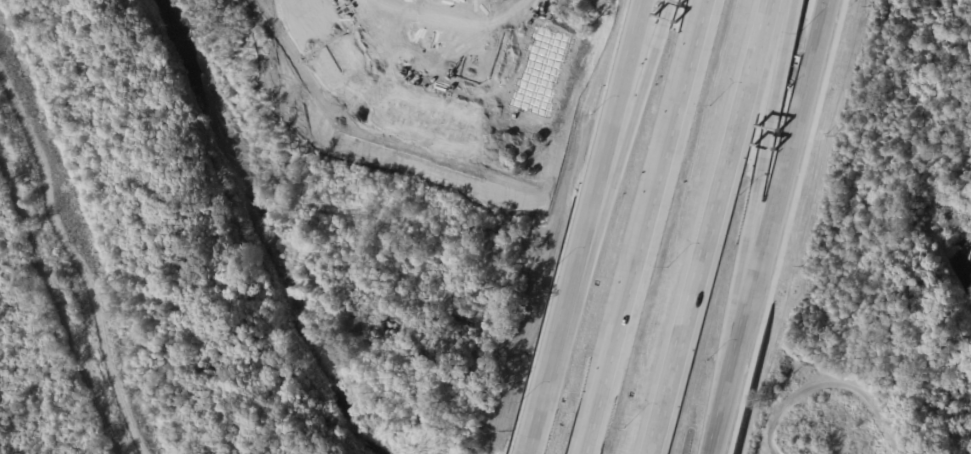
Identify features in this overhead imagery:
building: (449, 31)
building: (319, 36)
building: (541, 70)
road: (446, 78)
building: (428, 120)
road: (602, 154)
road: (621, 156)
road: (754, 195)
road: (770, 226)
road: (645, 227)
road: (707, 227)
road: (782, 227)
building: (477, 230)
road: (74, 263)
road: (57, 307)
road: (553, 346)
road: (833, 378)
park: (835, 412)
road: (533, 418)

